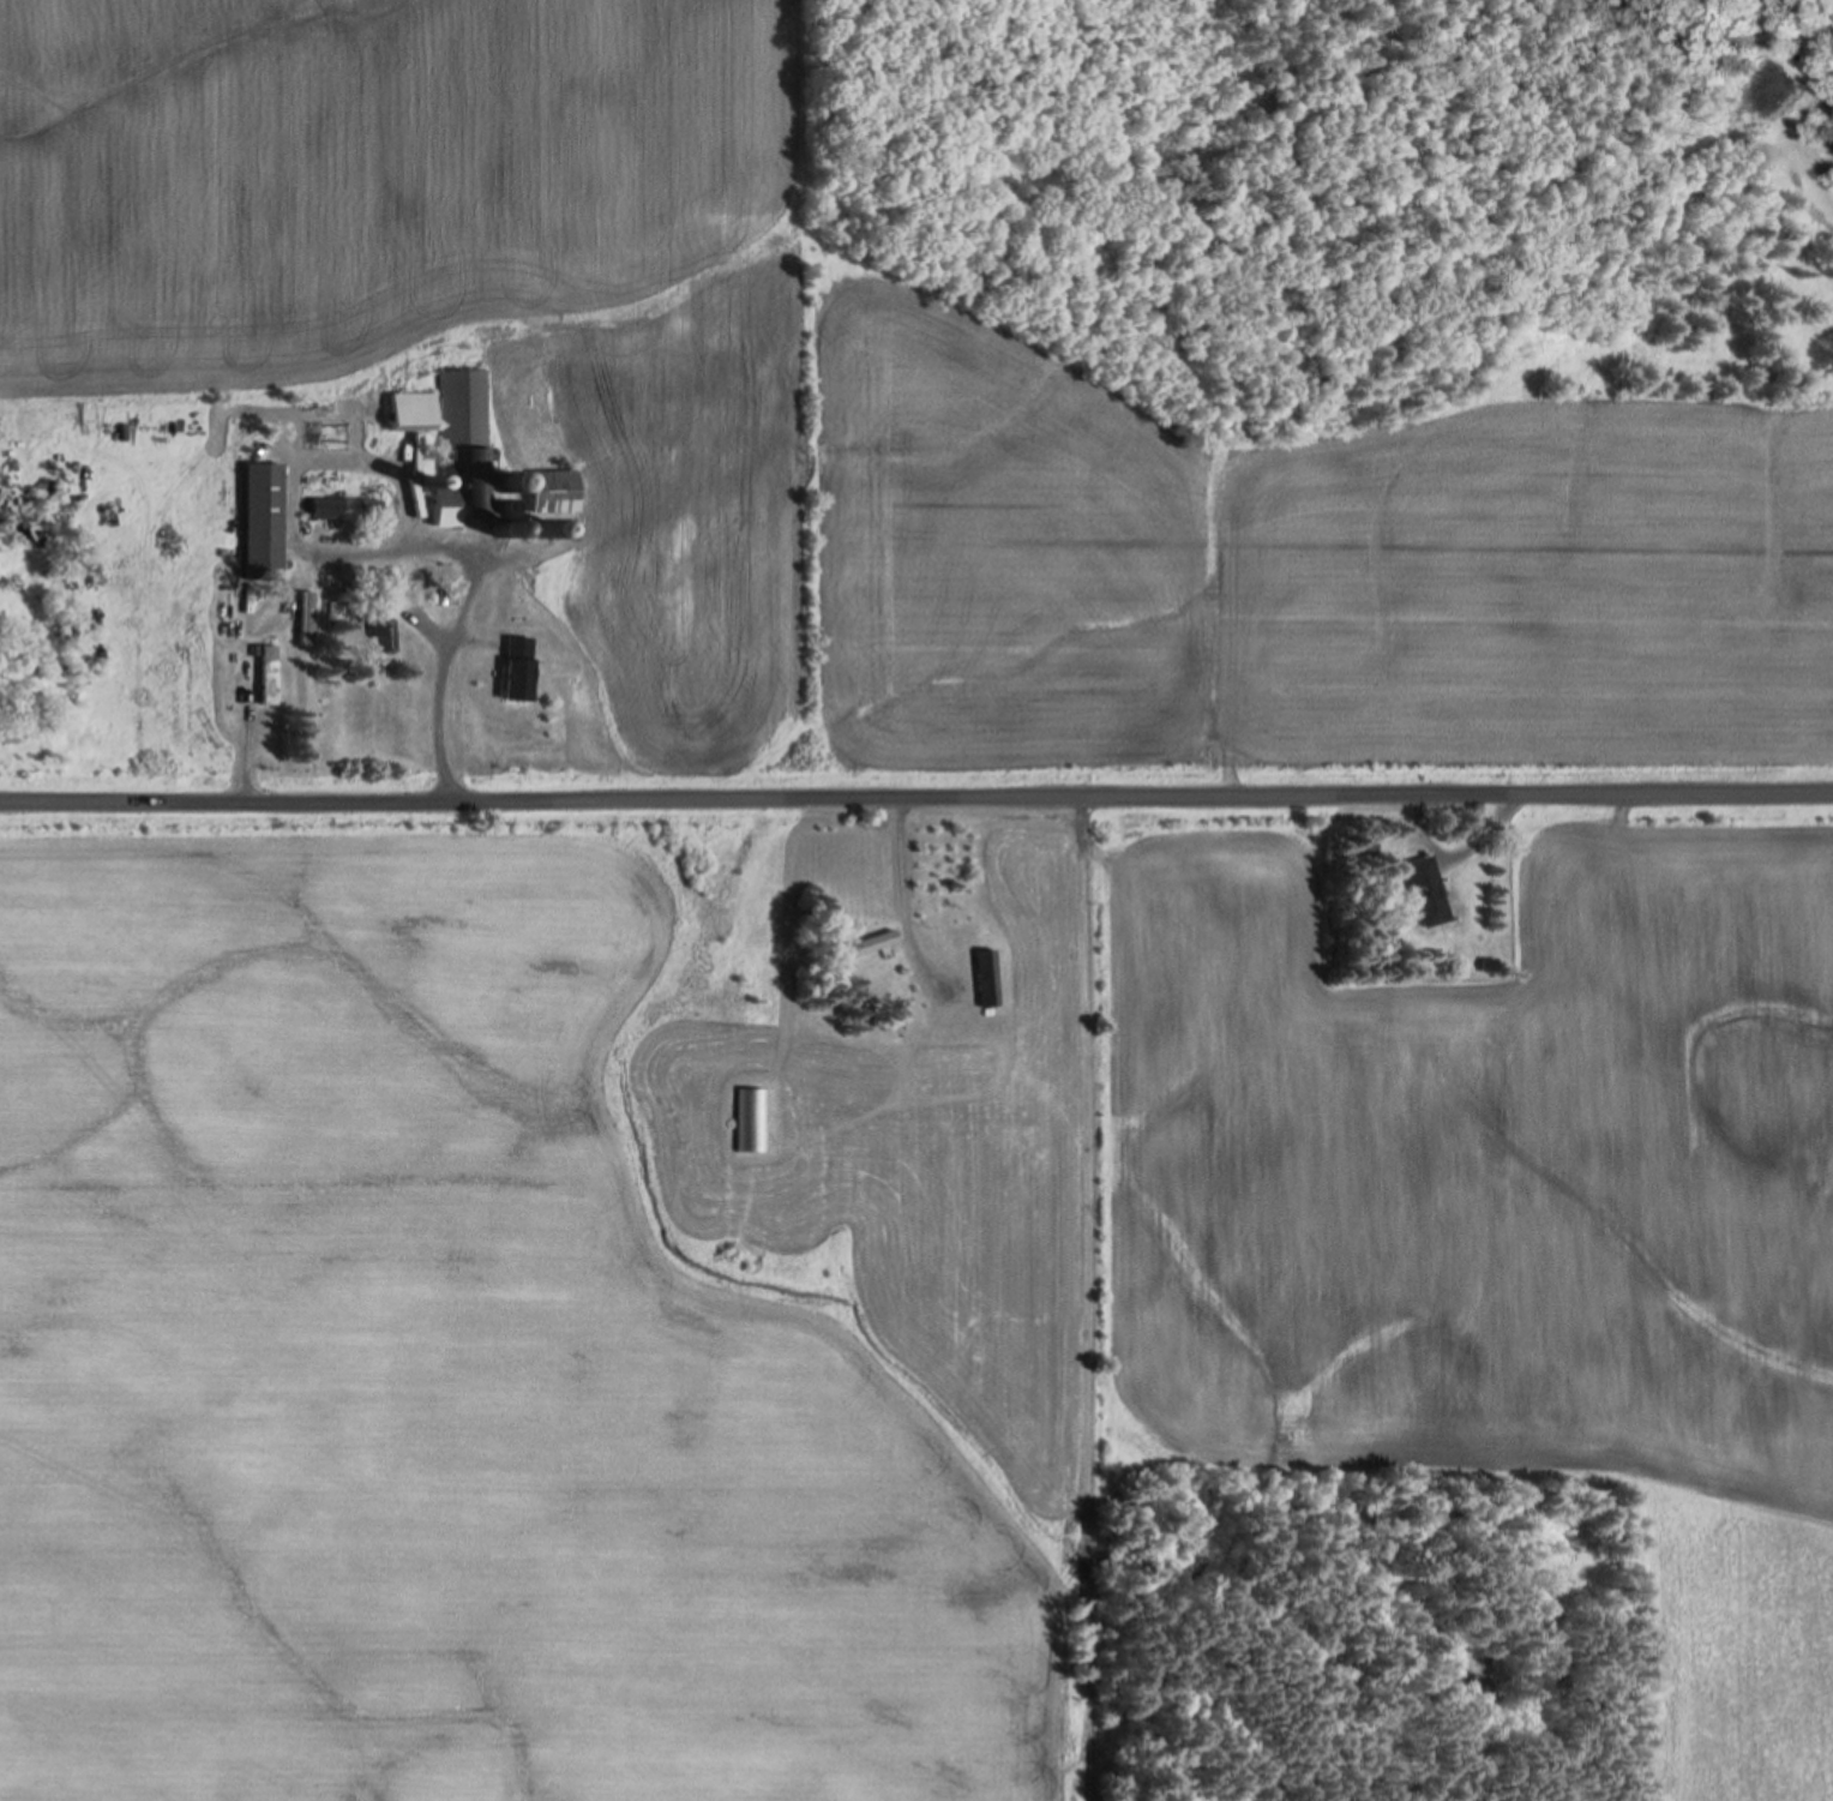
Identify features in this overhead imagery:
building: (456, 440)
building: (613, 481)
building: (555, 490)
building: (348, 506)
building: (265, 521)
building: (309, 618)
building: (385, 635)
building: (518, 666)
building: (272, 672)
road: (916, 779)
building: (1428, 888)
building: (864, 945)
building: (985, 977)
building: (946, 1062)
building: (753, 1118)

